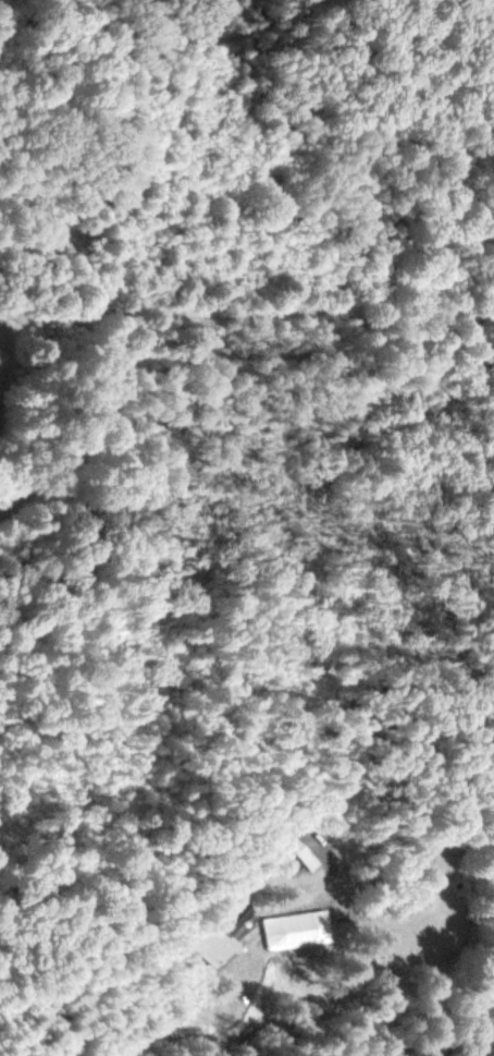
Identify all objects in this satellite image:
building: (293, 857)
building: (222, 934)
road: (166, 1027)

